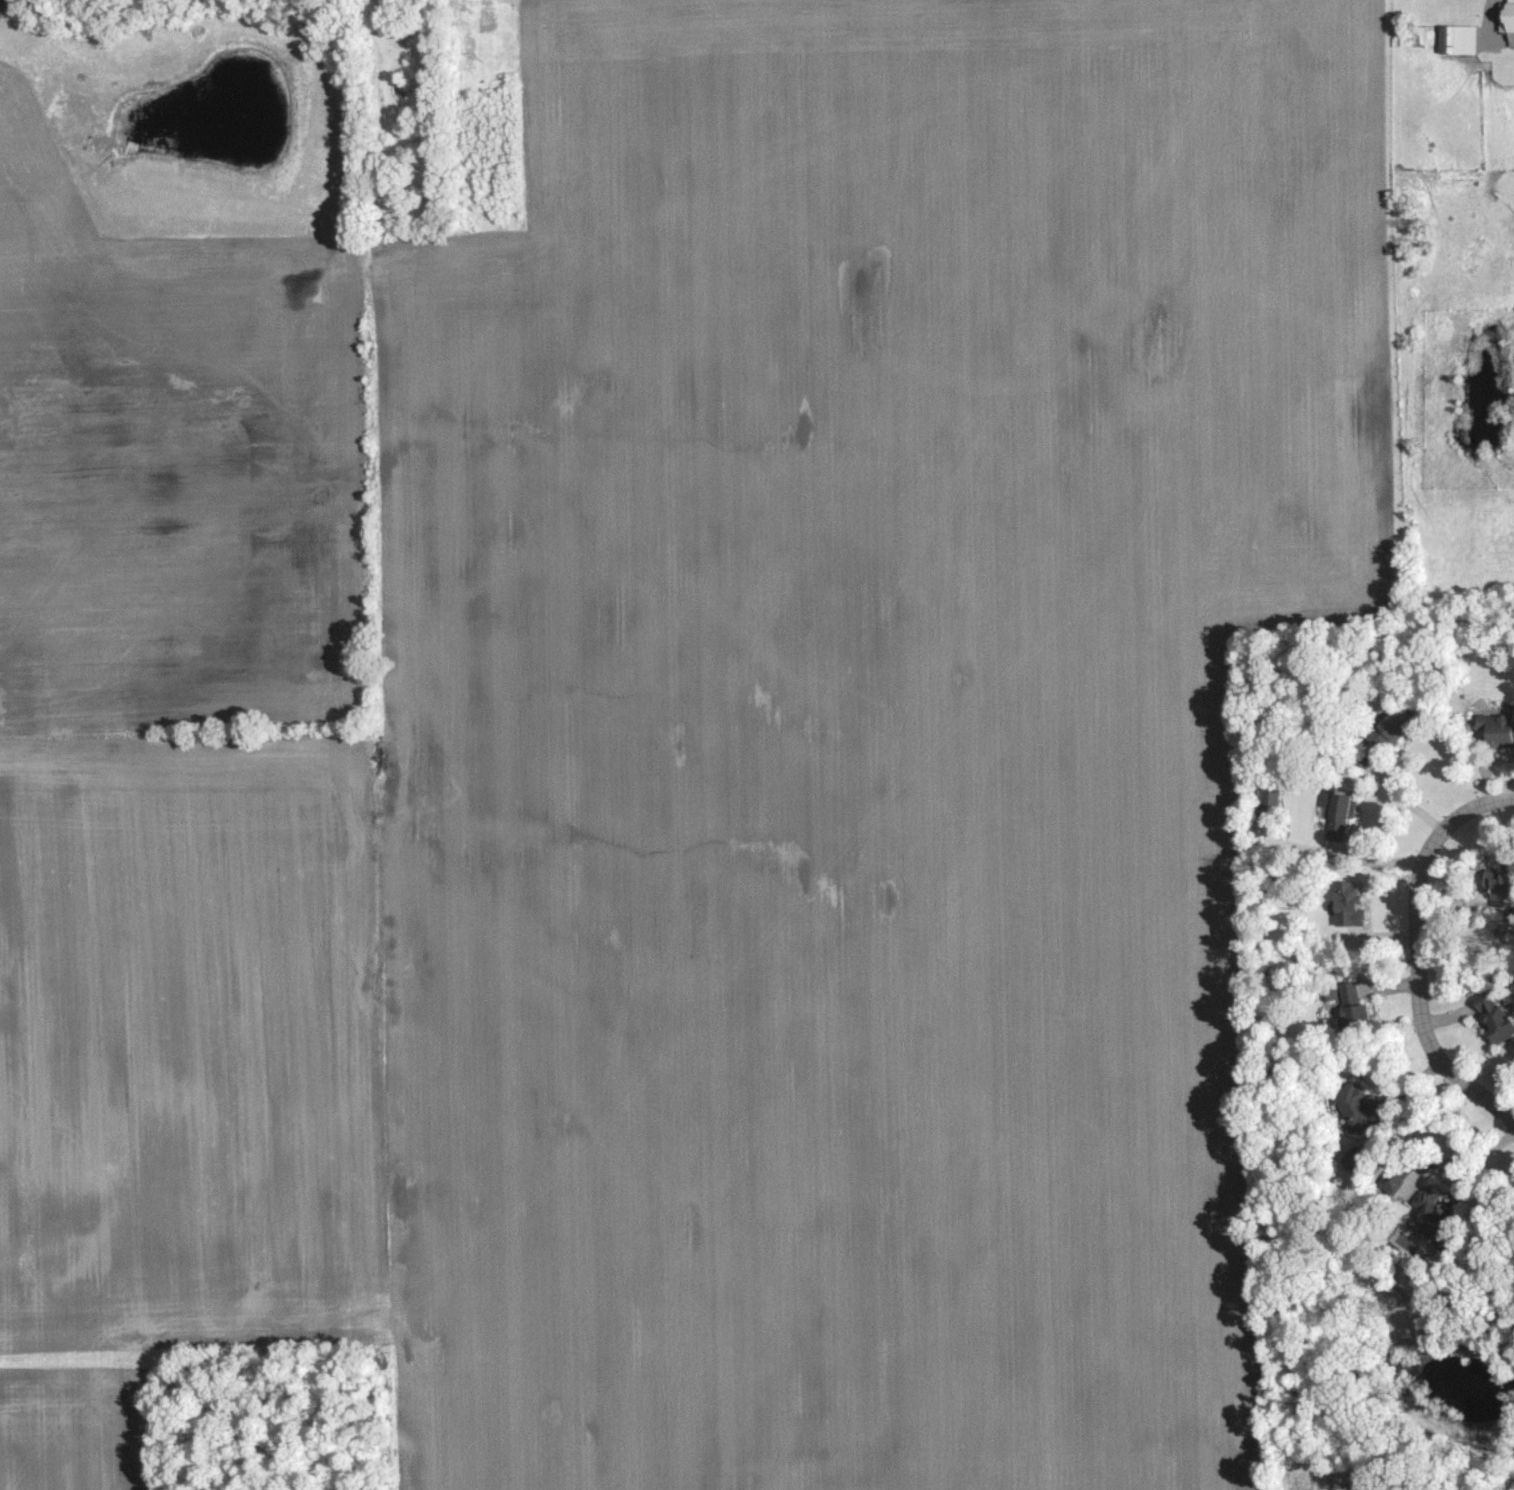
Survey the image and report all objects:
building: (1505, 18)
building: (1454, 39)
building: (1386, 728)
building: (1495, 728)
building: (1336, 812)
building: (1491, 883)
building: (1345, 906)
road: (1416, 951)
building: (1350, 1005)
building: (1489, 1021)
road: (1406, 1100)
building: (1353, 1108)
road: (1475, 1155)
building: (1429, 1207)

